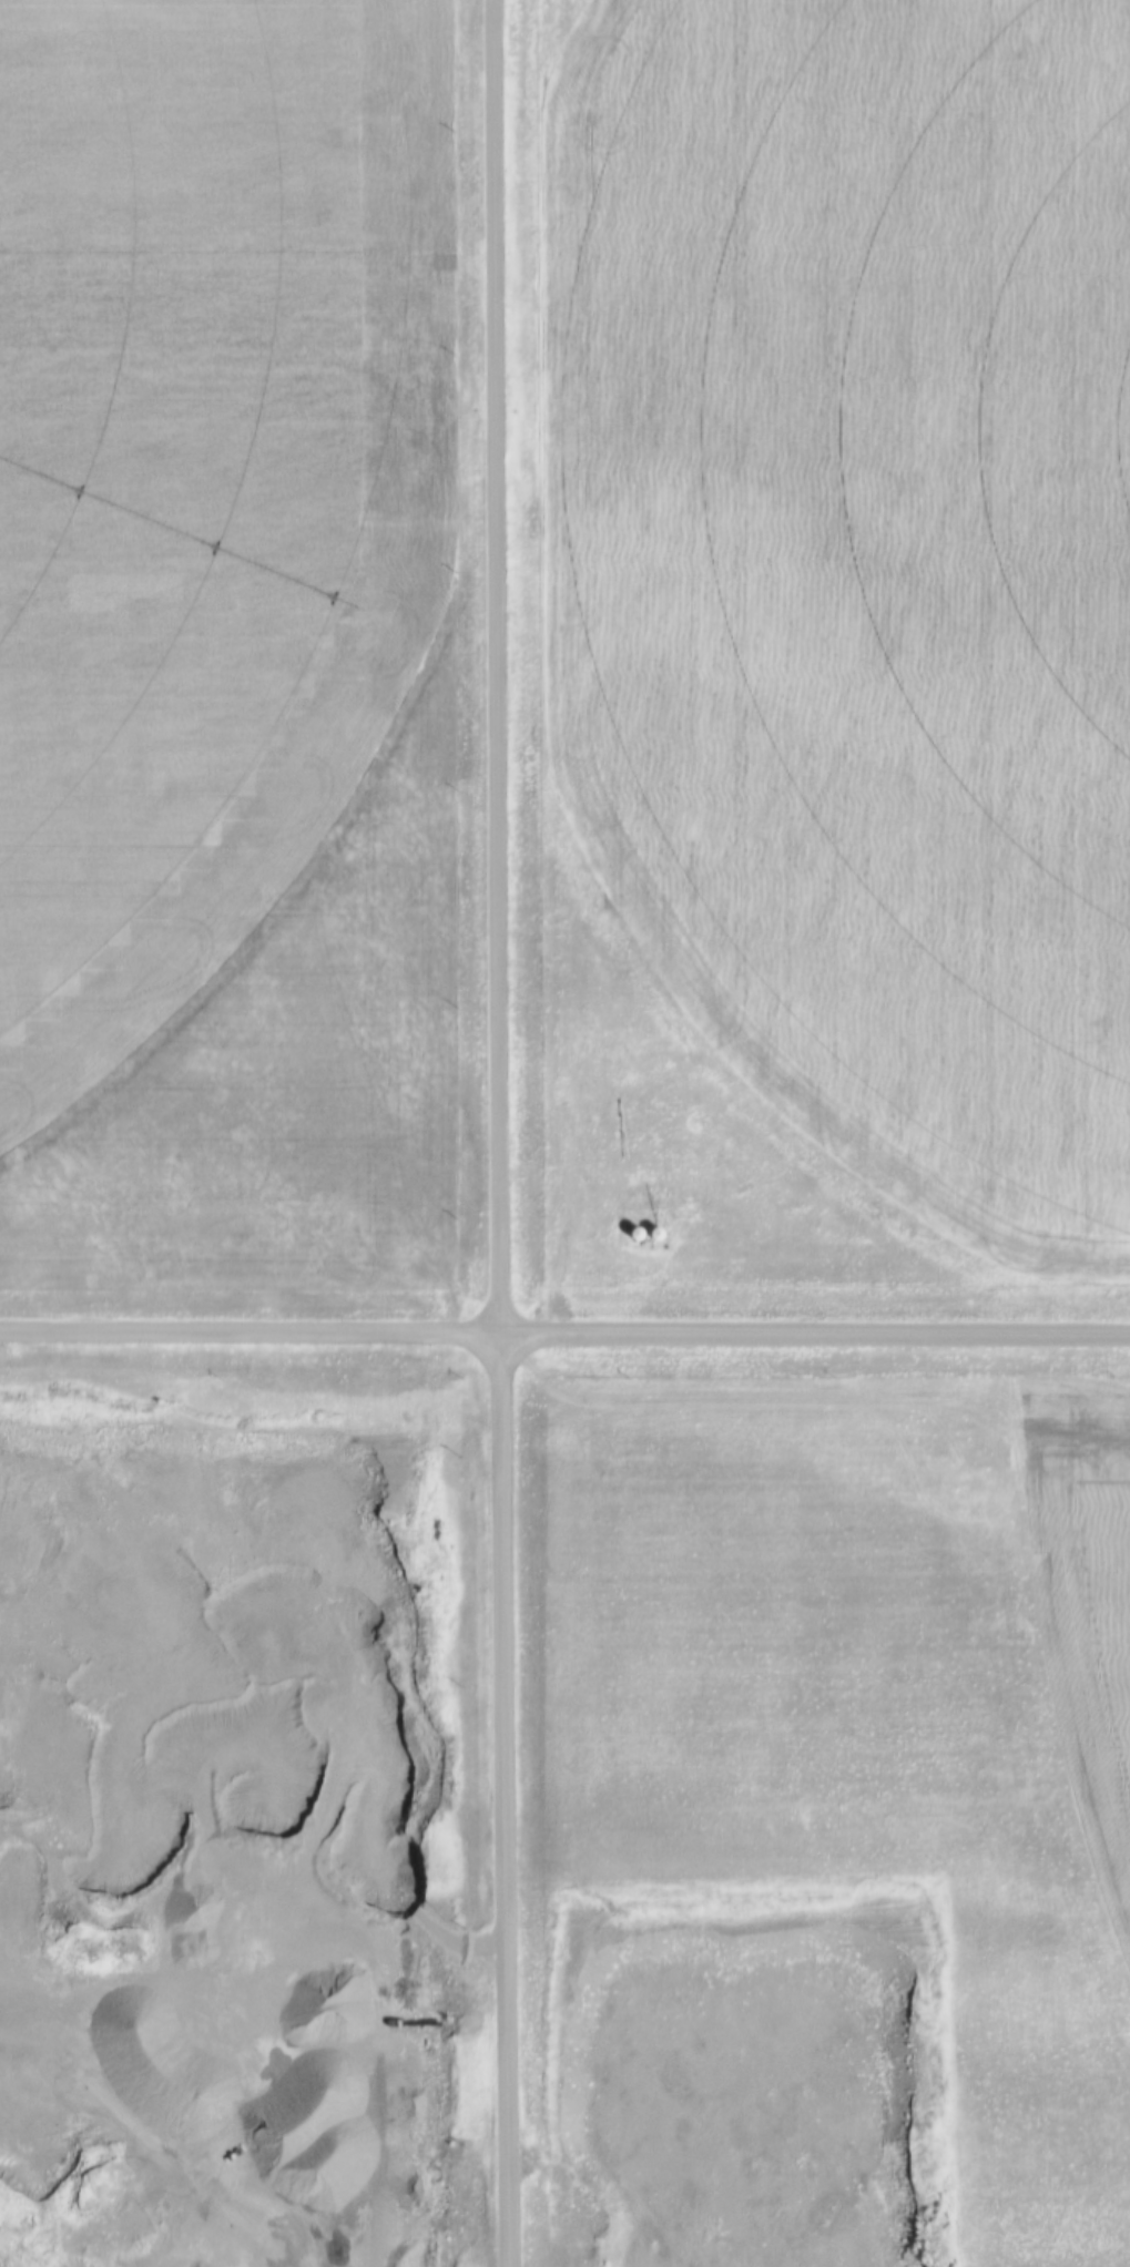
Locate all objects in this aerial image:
road: (496, 1133)
road: (564, 1334)
quarry: (228, 1810)

